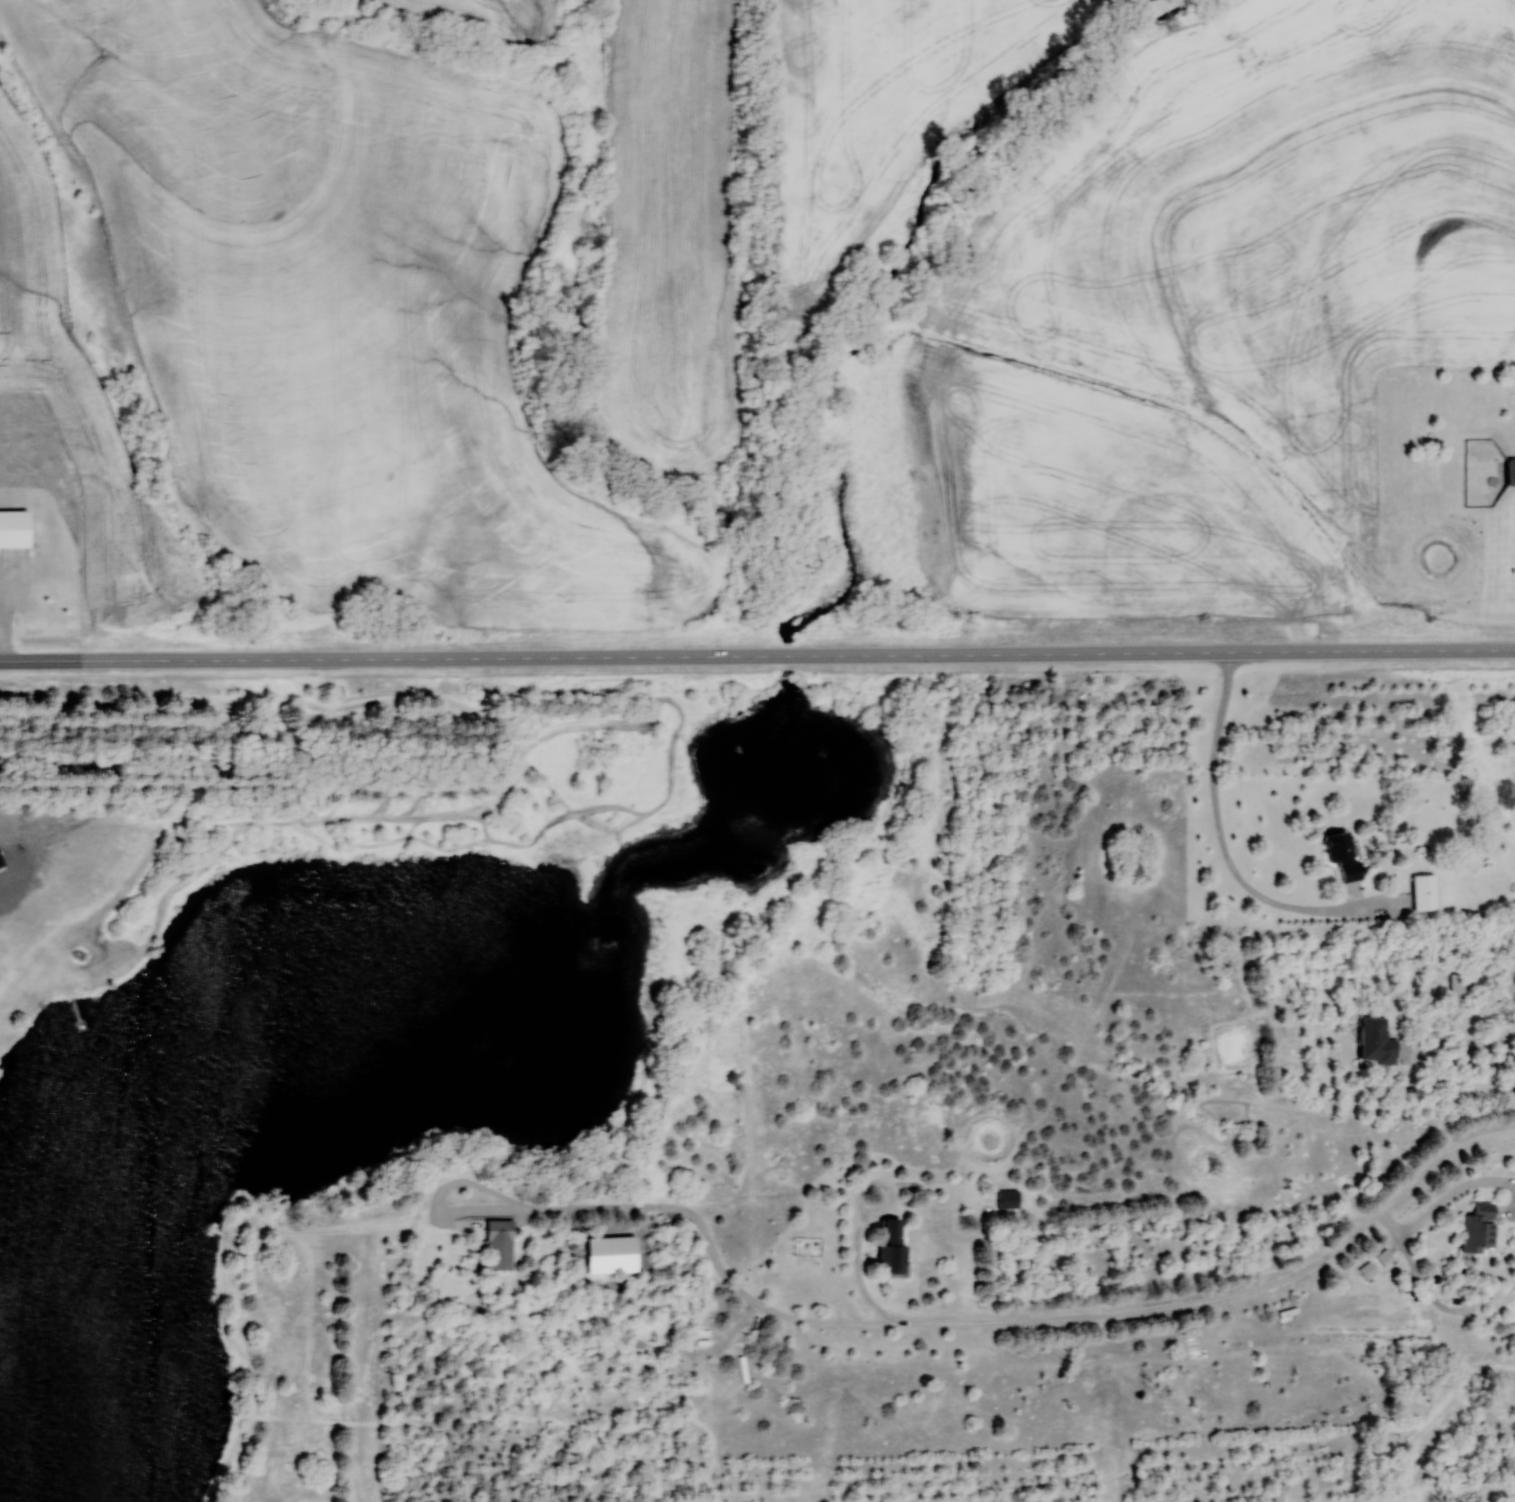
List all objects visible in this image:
building: (1512, 471)
building: (20, 529)
road: (757, 656)
building: (1346, 855)
building: (1426, 892)
building: (1462, 988)
building: (1378, 1042)
road: (885, 1186)
building: (1008, 1199)
building: (1481, 1229)
building: (500, 1230)
building: (893, 1247)
road: (1170, 1305)

